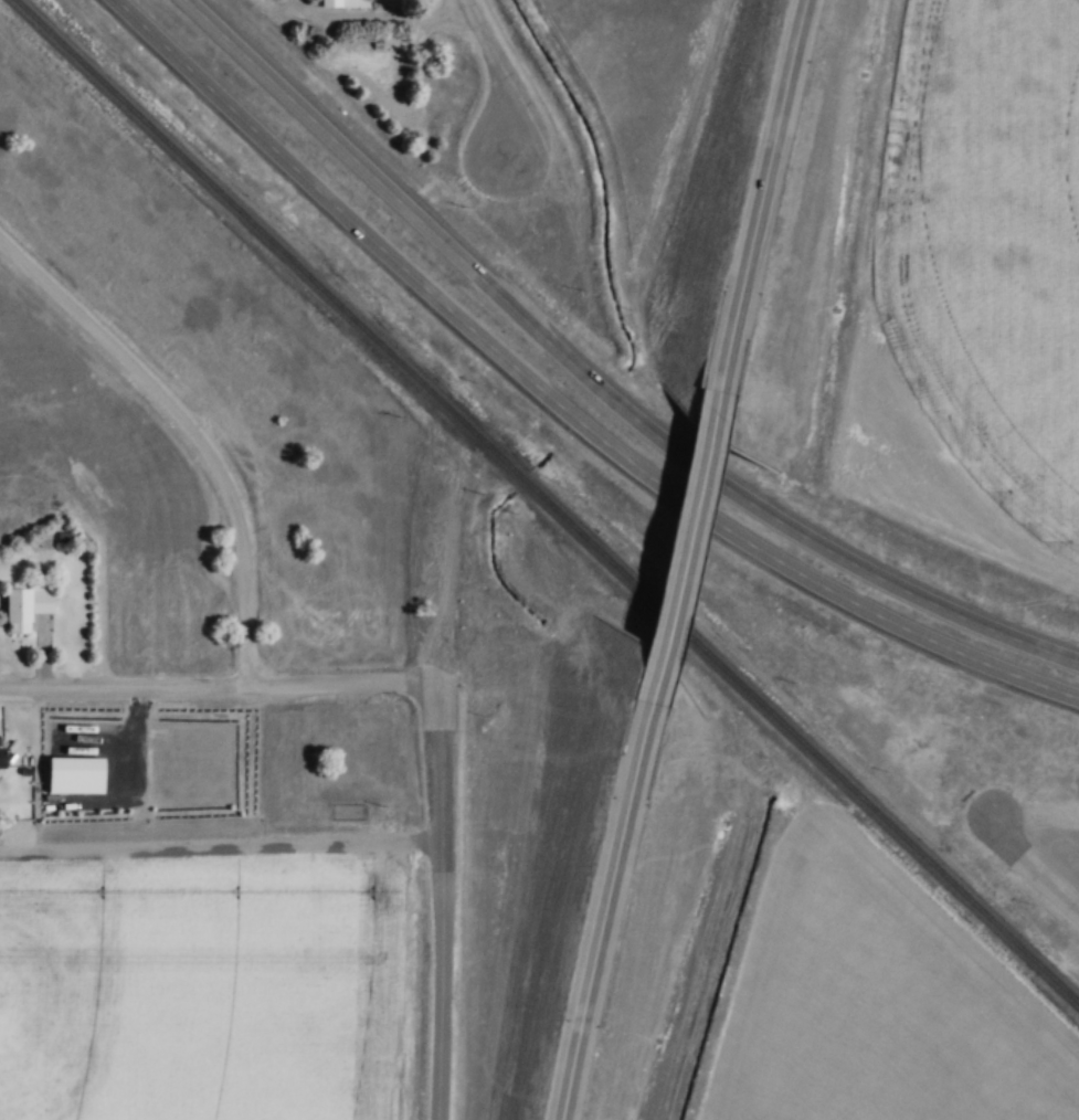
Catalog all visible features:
building: (330, 2)
road: (385, 17)
road: (496, 81)
road: (353, 154)
road: (300, 171)
road: (760, 208)
road: (193, 427)
road: (655, 434)
road: (641, 468)
railway: (548, 500)
road: (686, 541)
building: (25, 605)
road: (941, 606)
road: (942, 645)
road: (224, 685)
building: (1, 758)
road: (1032, 865)
road: (606, 892)
road: (445, 911)

